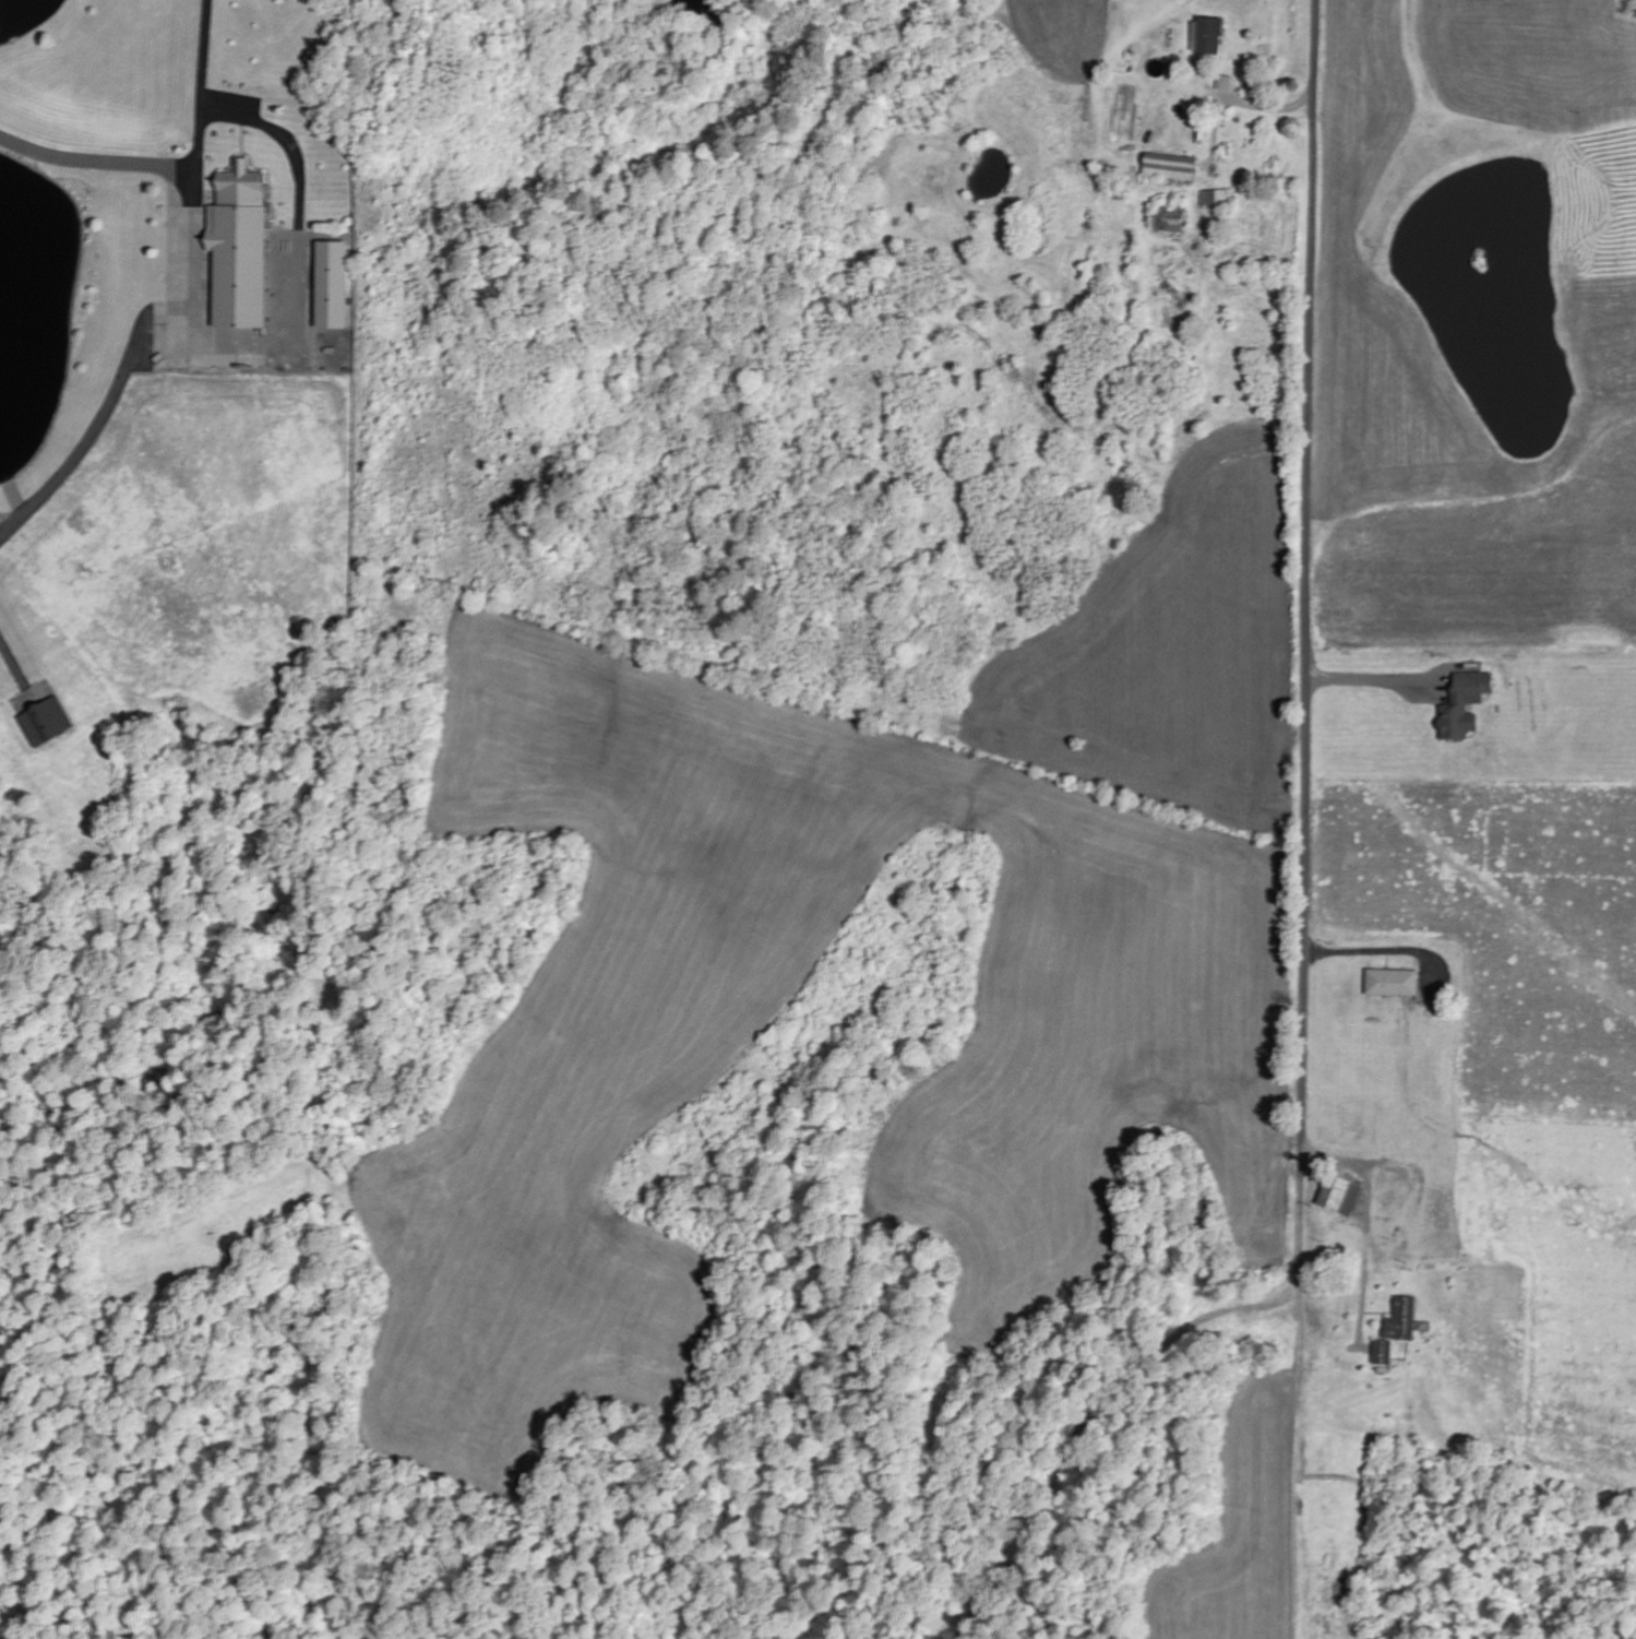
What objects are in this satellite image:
building: (1208, 37)
building: (1171, 168)
building: (1216, 199)
building: (1171, 221)
building: (240, 249)
building: (333, 286)
road: (1305, 589)
building: (1465, 706)
building: (46, 722)
building: (1394, 984)
building: (1342, 1197)
building: (1398, 1332)

